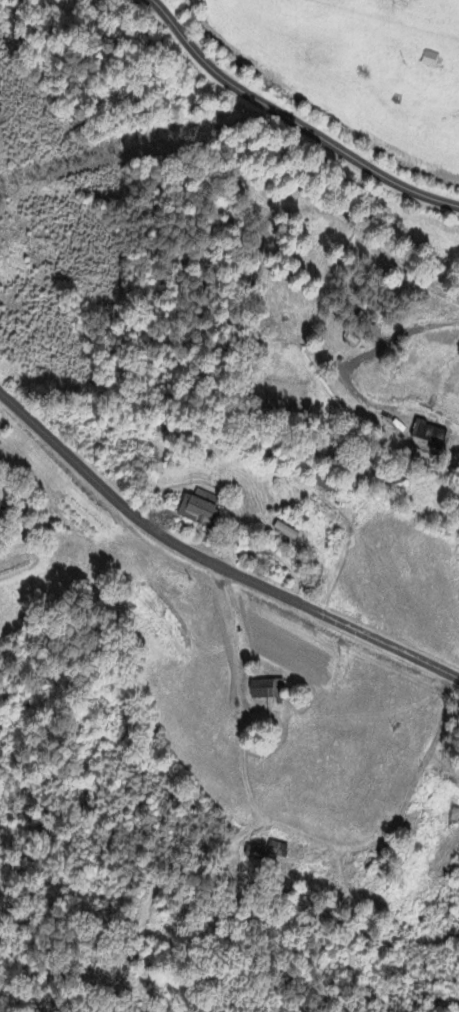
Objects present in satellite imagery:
building: (429, 61)
road: (291, 121)
road: (210, 126)
road: (366, 352)
building: (429, 435)
building: (324, 484)
building: (198, 513)
road: (213, 565)
building: (266, 690)
road: (283, 827)
building: (267, 855)

